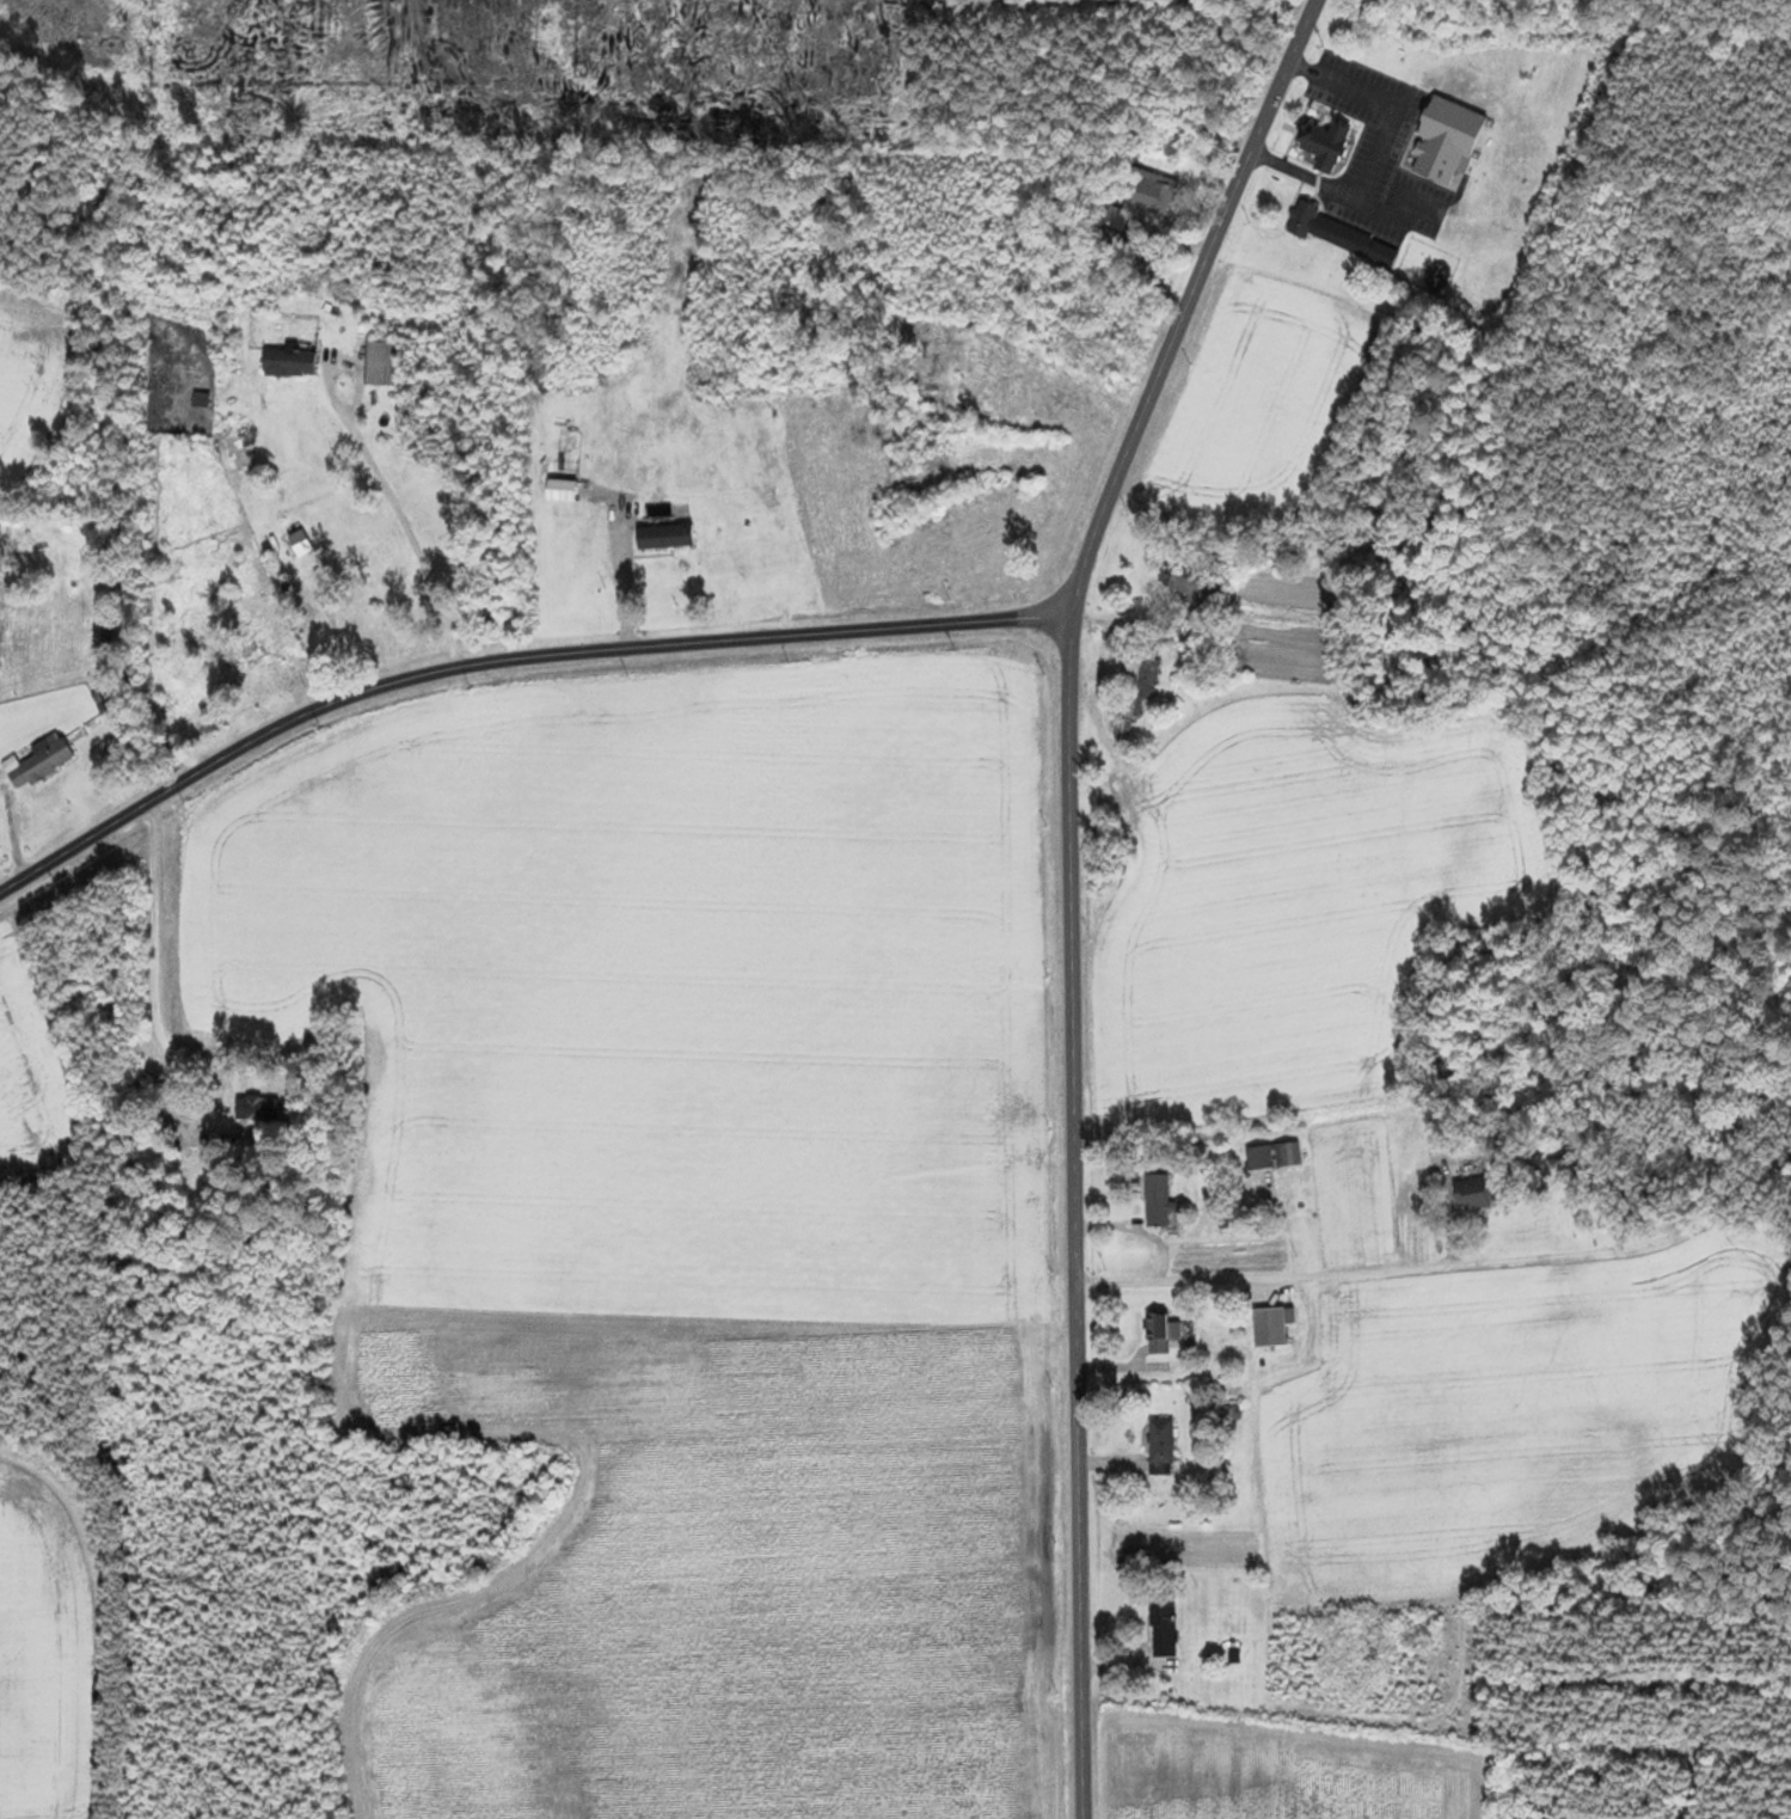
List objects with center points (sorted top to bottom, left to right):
building: (1448, 141)
building: (1327, 147)
building: (1342, 235)
building: (290, 363)
building: (382, 363)
building: (202, 392)
road: (700, 471)
building: (301, 543)
building: (1186, 584)
building: (373, 590)
power tower: (957, 648)
road: (507, 660)
power tower: (791, 661)
power tower: (1047, 673)
power tower: (630, 676)
power tower: (473, 688)
building: (1136, 690)
power tower: (323, 731)
building: (41, 761)
power tower: (188, 809)
power tower: (1047, 826)
power tower: (55, 884)
road: (1071, 884)
road: (127, 956)
power tower: (1049, 976)
building: (258, 1108)
power tower: (1053, 1131)
building: (1272, 1156)
building: (1477, 1193)
building: (1159, 1201)
power tower: (1054, 1274)
building: (1270, 1327)
building: (1161, 1333)
power tower: (1055, 1386)
building: (1161, 1443)
building: (1235, 1472)
power tower: (1055, 1543)
building: (1164, 1625)
power tower: (1057, 1695)

